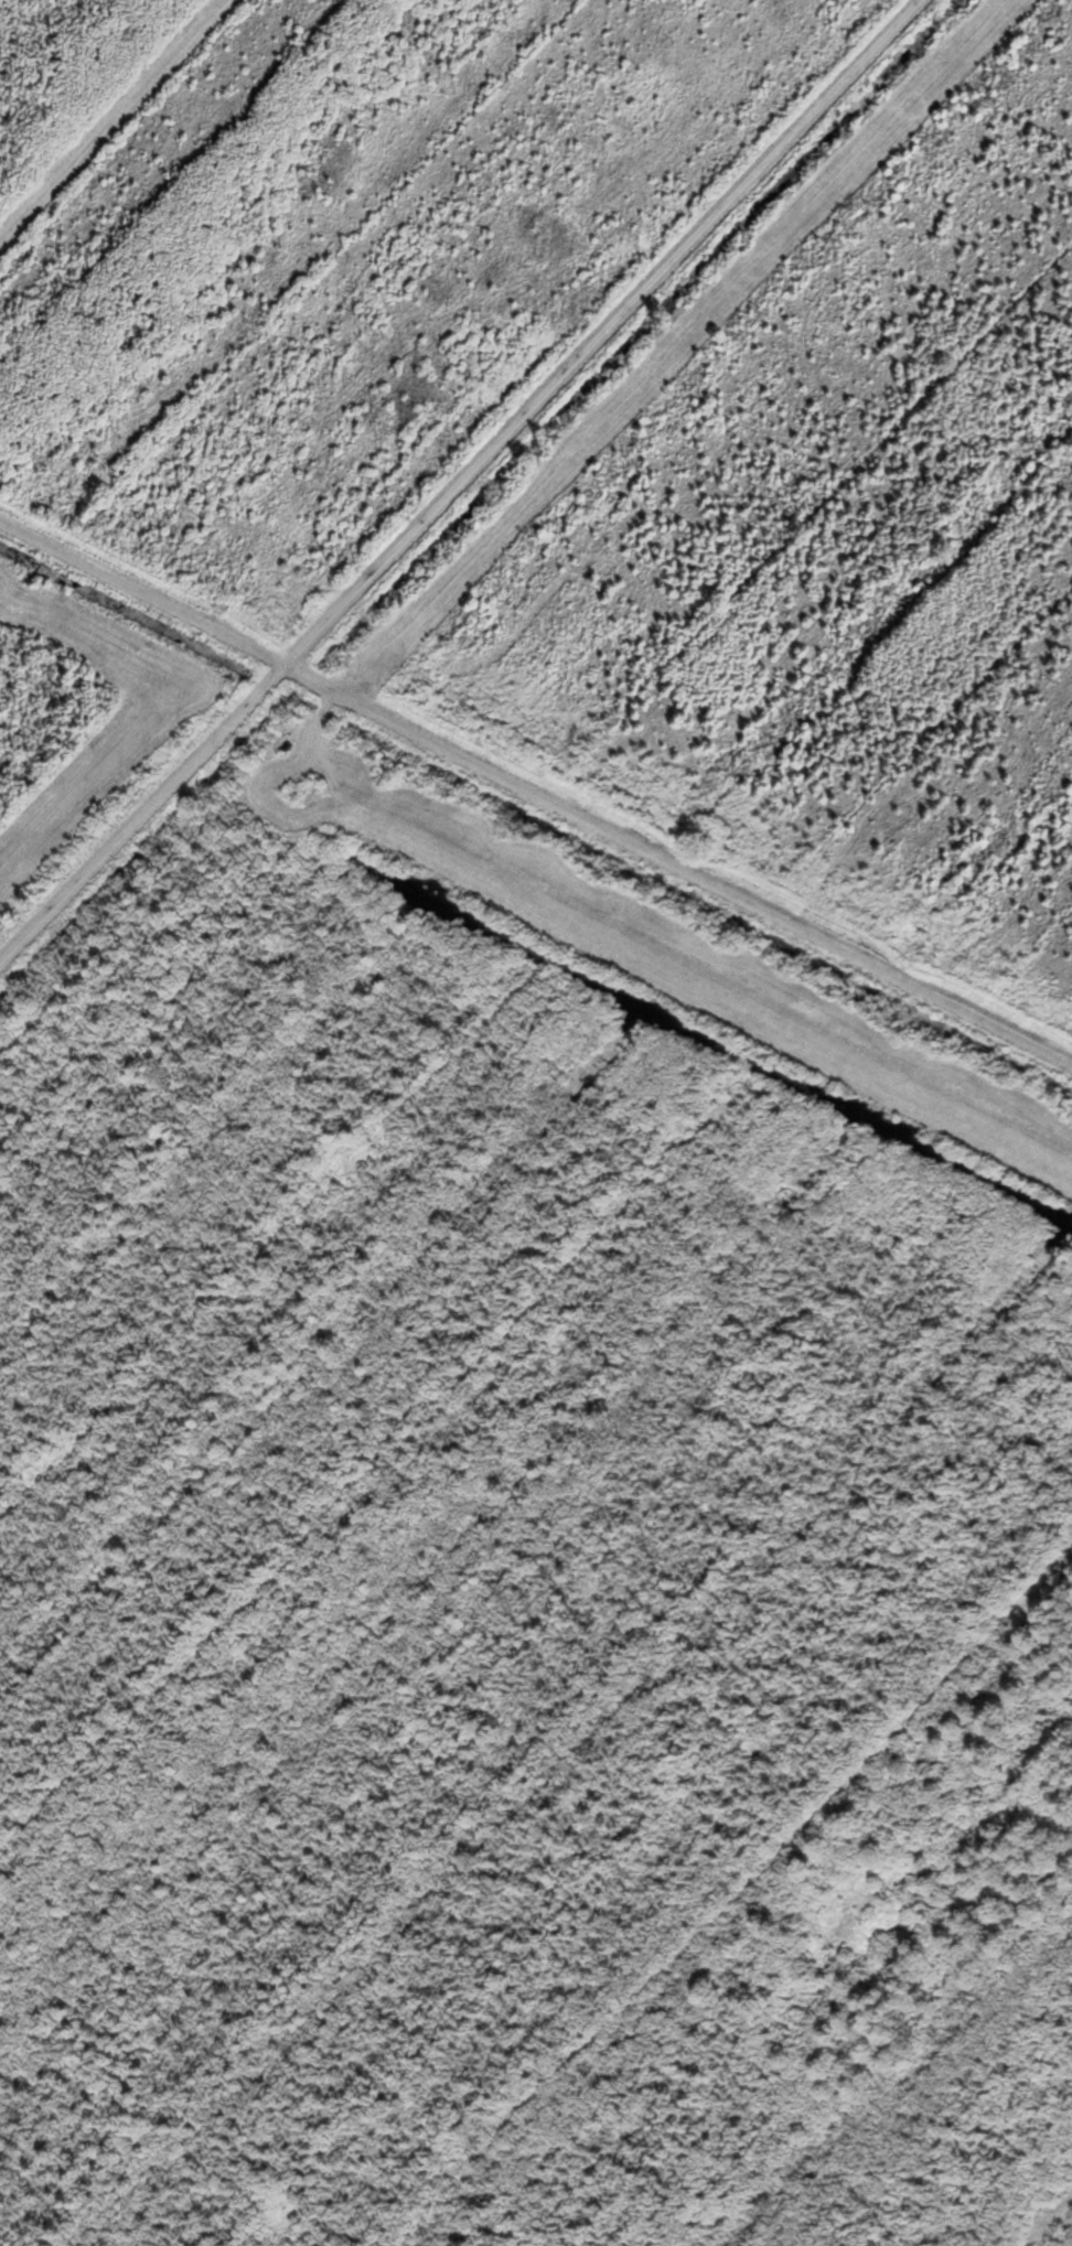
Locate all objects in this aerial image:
road: (453, 479)
road: (535, 787)

